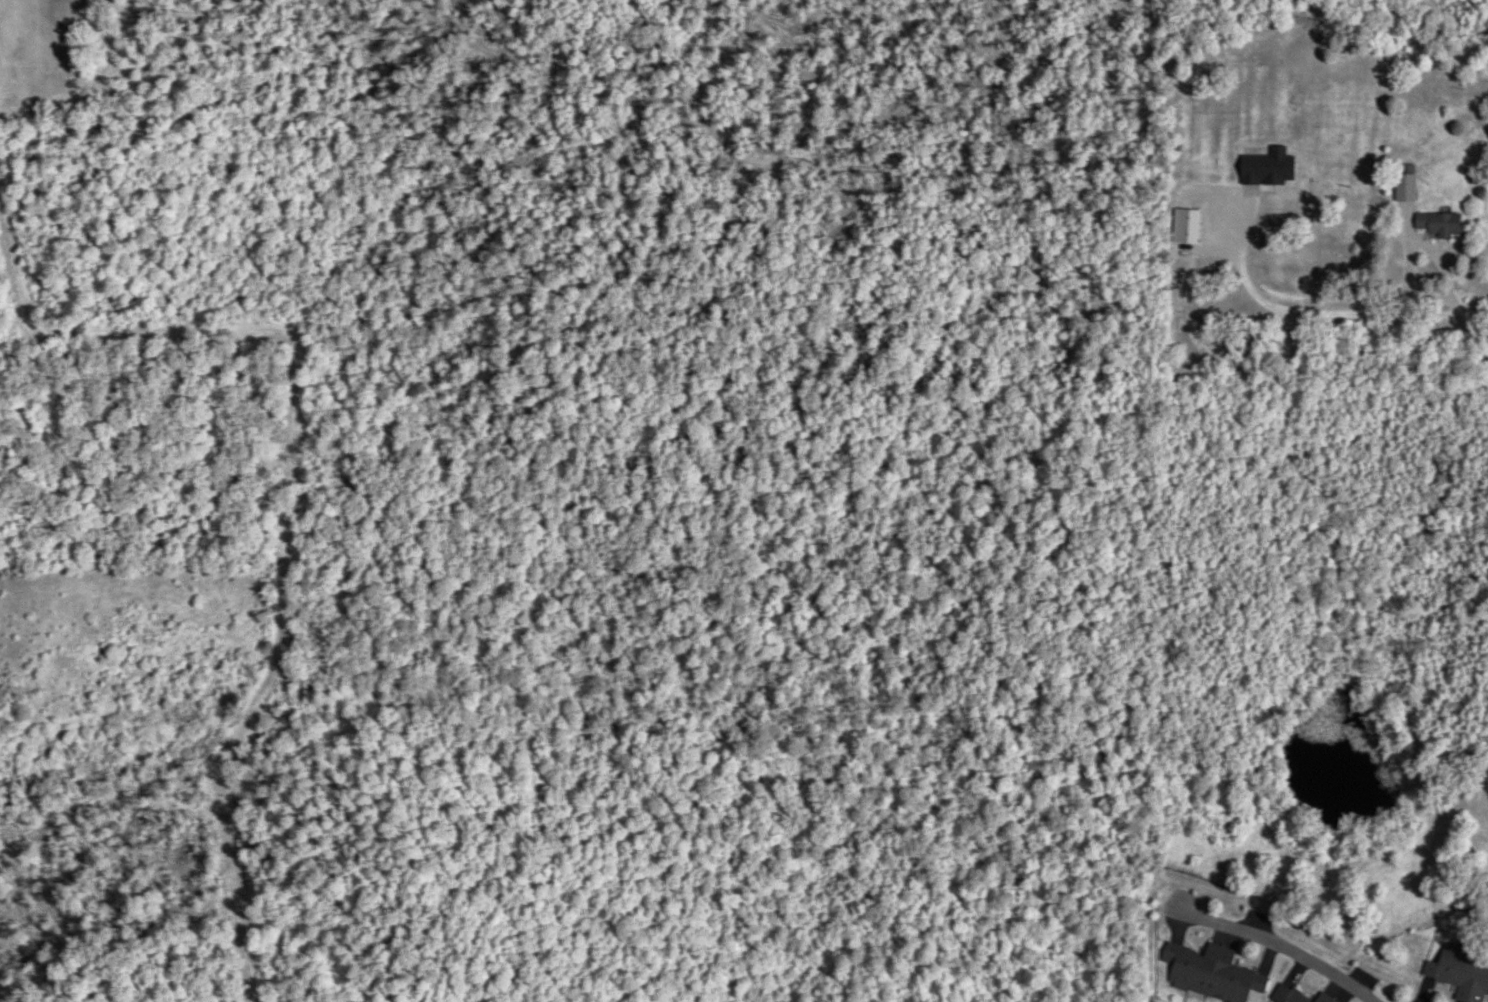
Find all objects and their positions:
building: (1293, 120)
building: (1404, 186)
building: (1437, 224)
road: (1352, 316)
road: (1278, 945)
building: (1460, 973)
building: (1210, 974)
building: (1286, 995)
building: (1322, 998)

